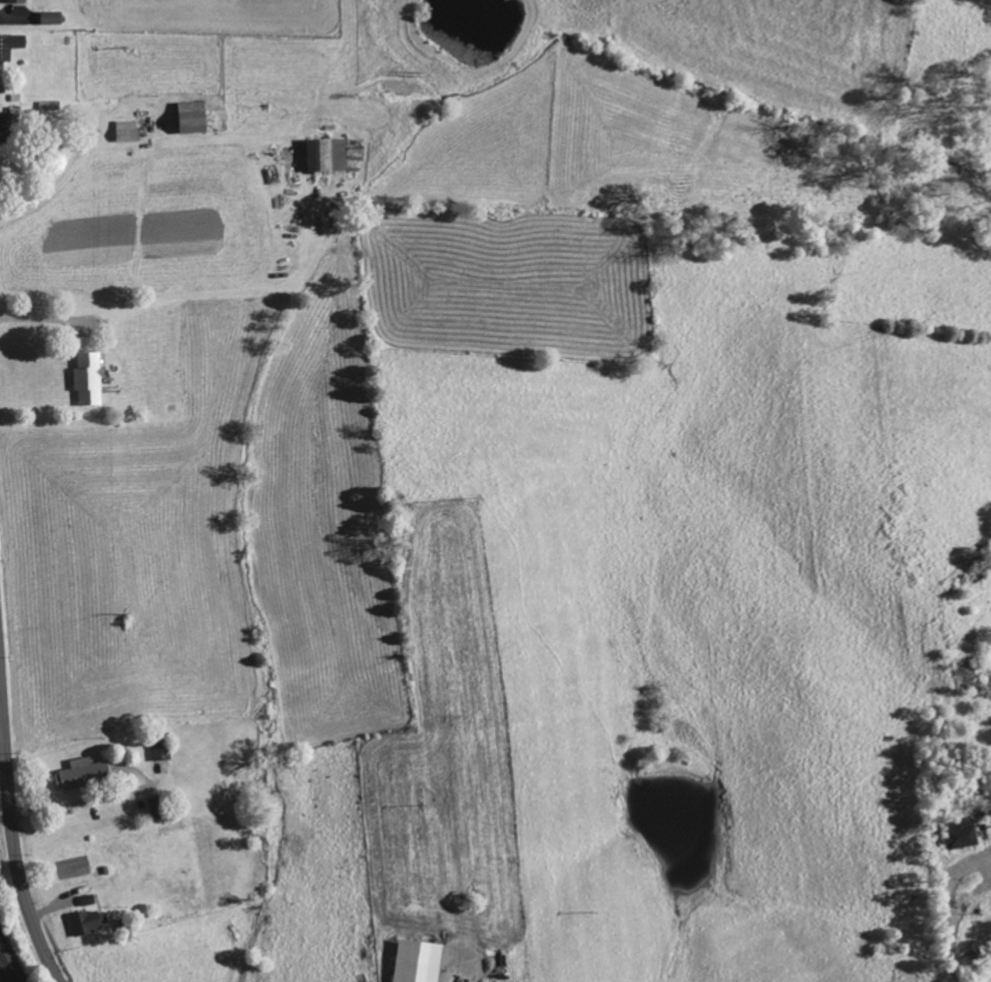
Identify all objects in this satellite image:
building: (18, 1)
building: (54, 18)
building: (11, 45)
building: (3, 85)
building: (195, 117)
building: (9, 128)
building: (128, 131)
building: (328, 155)
building: (87, 344)
building: (90, 380)
building: (162, 751)
building: (83, 773)
building: (157, 808)
road: (12, 815)
building: (964, 834)
building: (90, 921)
road: (950, 951)
building: (420, 961)
railway: (7, 968)
railway: (2, 977)

